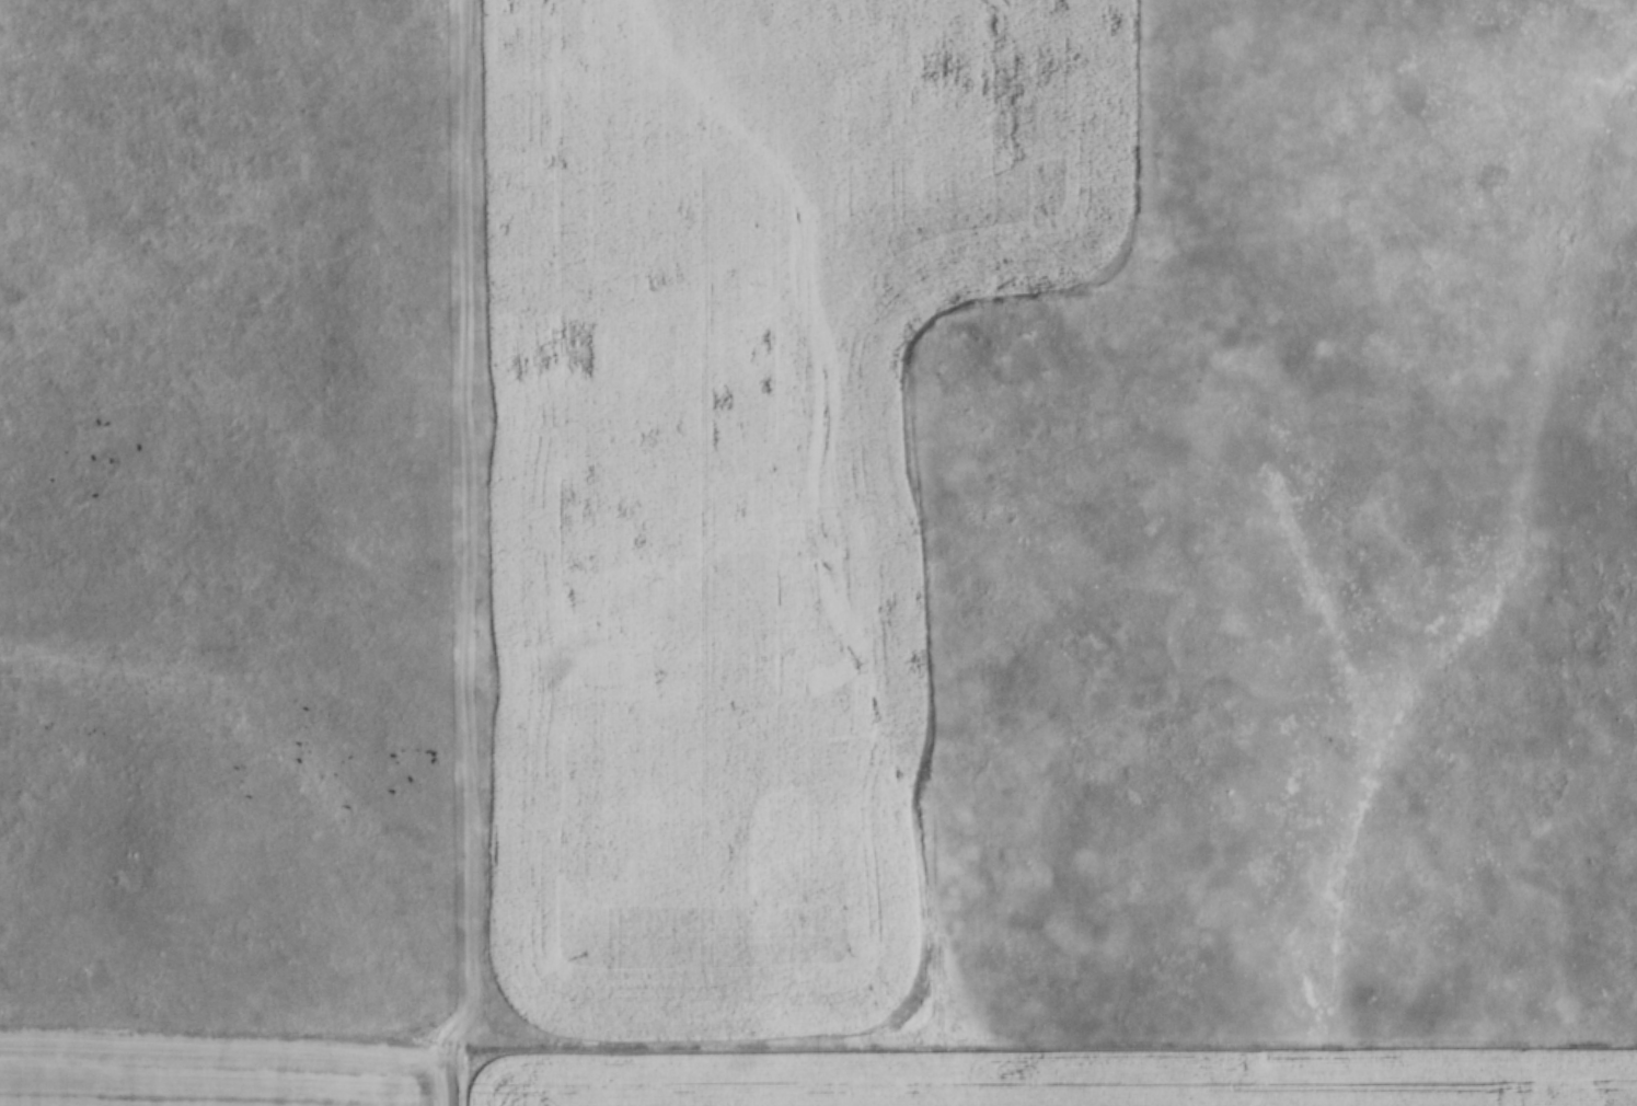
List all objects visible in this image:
crop: (734, 471)
crop: (214, 1072)
crop: (1059, 1078)

